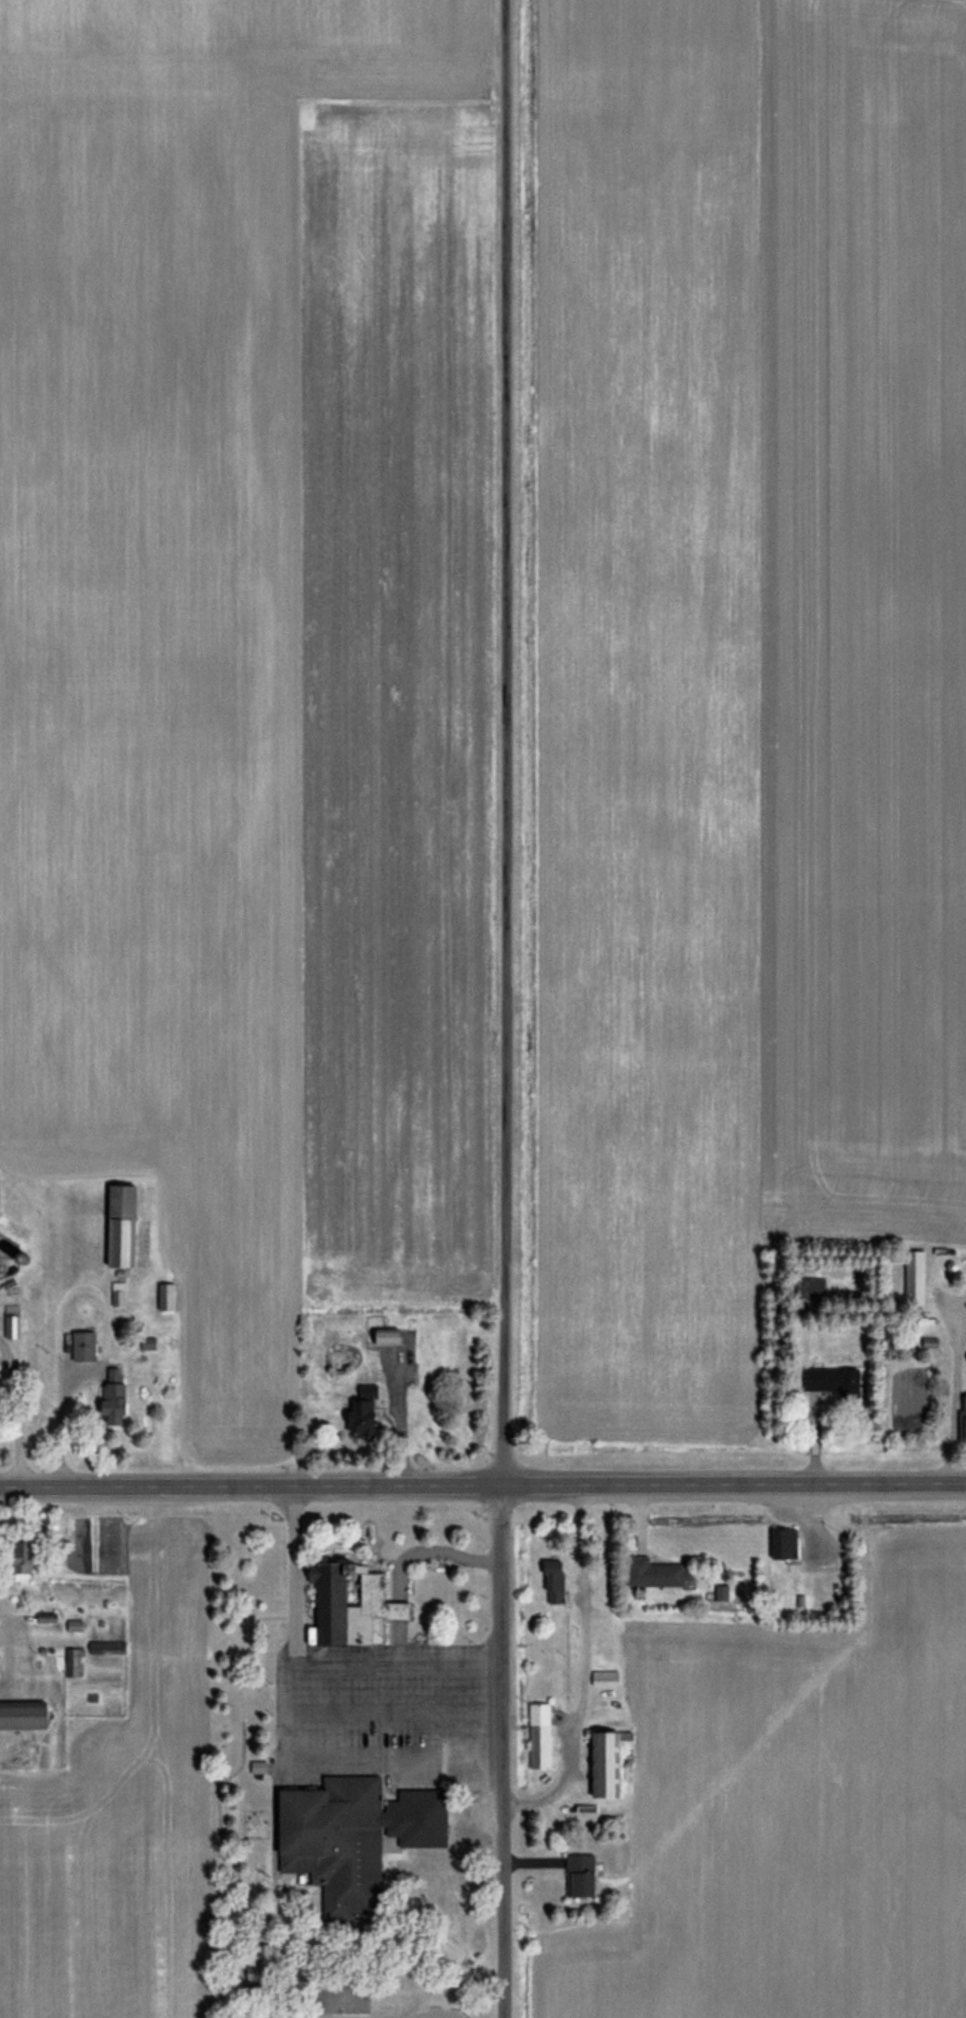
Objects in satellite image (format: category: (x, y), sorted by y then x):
road: (506, 742)
building: (128, 1225)
building: (913, 1278)
building: (120, 1294)
building: (171, 1296)
building: (14, 1325)
building: (394, 1337)
building: (90, 1346)
building: (829, 1385)
road: (948, 1394)
building: (117, 1402)
building: (960, 1419)
building: (371, 1428)
road: (482, 1484)
building: (781, 1543)
road: (434, 1550)
road: (289, 1556)
building: (663, 1574)
building: (559, 1582)
building: (355, 1605)
building: (77, 1663)
road: (279, 1713)
building: (31, 1716)
building: (543, 1736)
road: (504, 1751)
building: (617, 1763)
building: (261, 1767)
building: (330, 1824)
building: (585, 1876)
building: (280, 2017)

